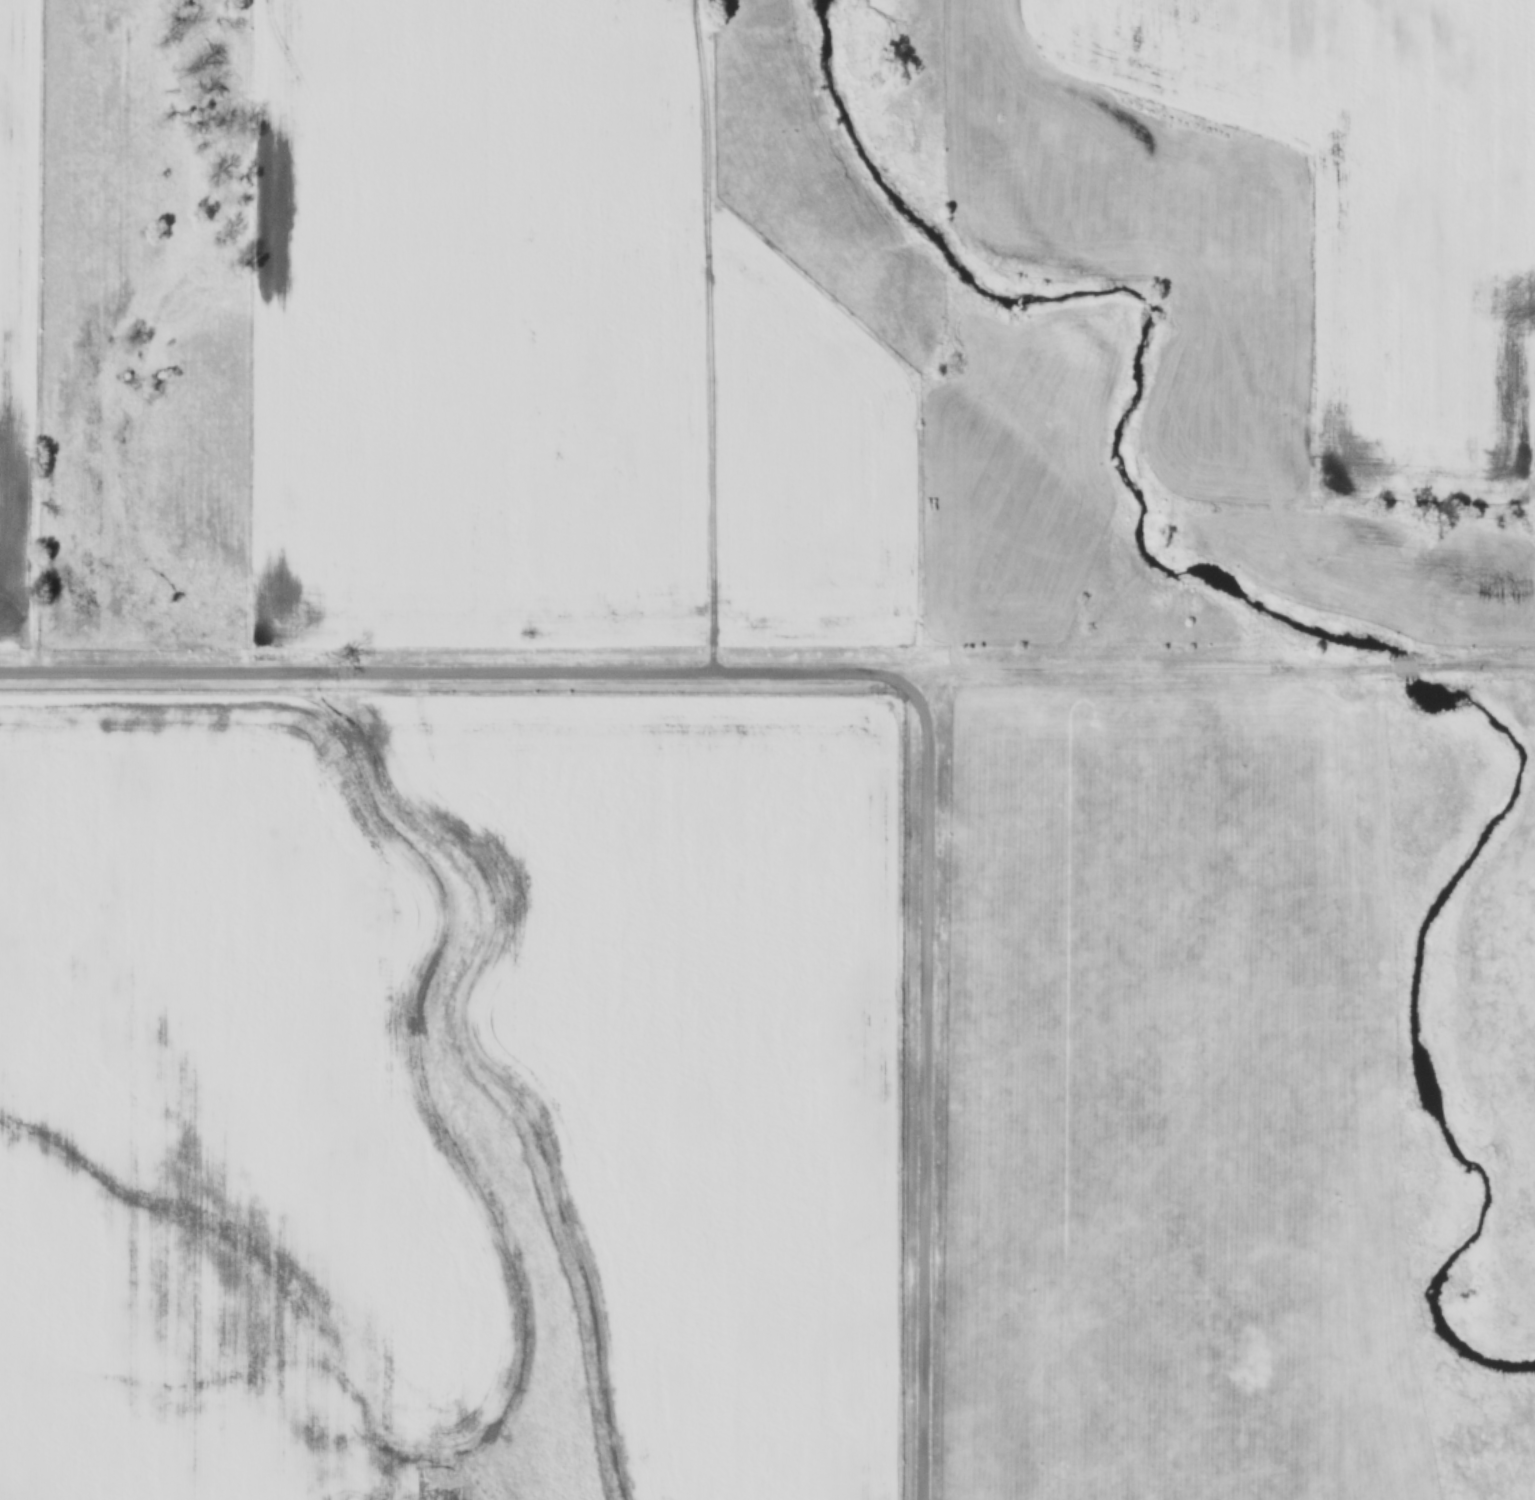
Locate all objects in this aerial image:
road: (712, 335)
road: (1214, 669)
road: (447, 672)
road: (924, 1081)

